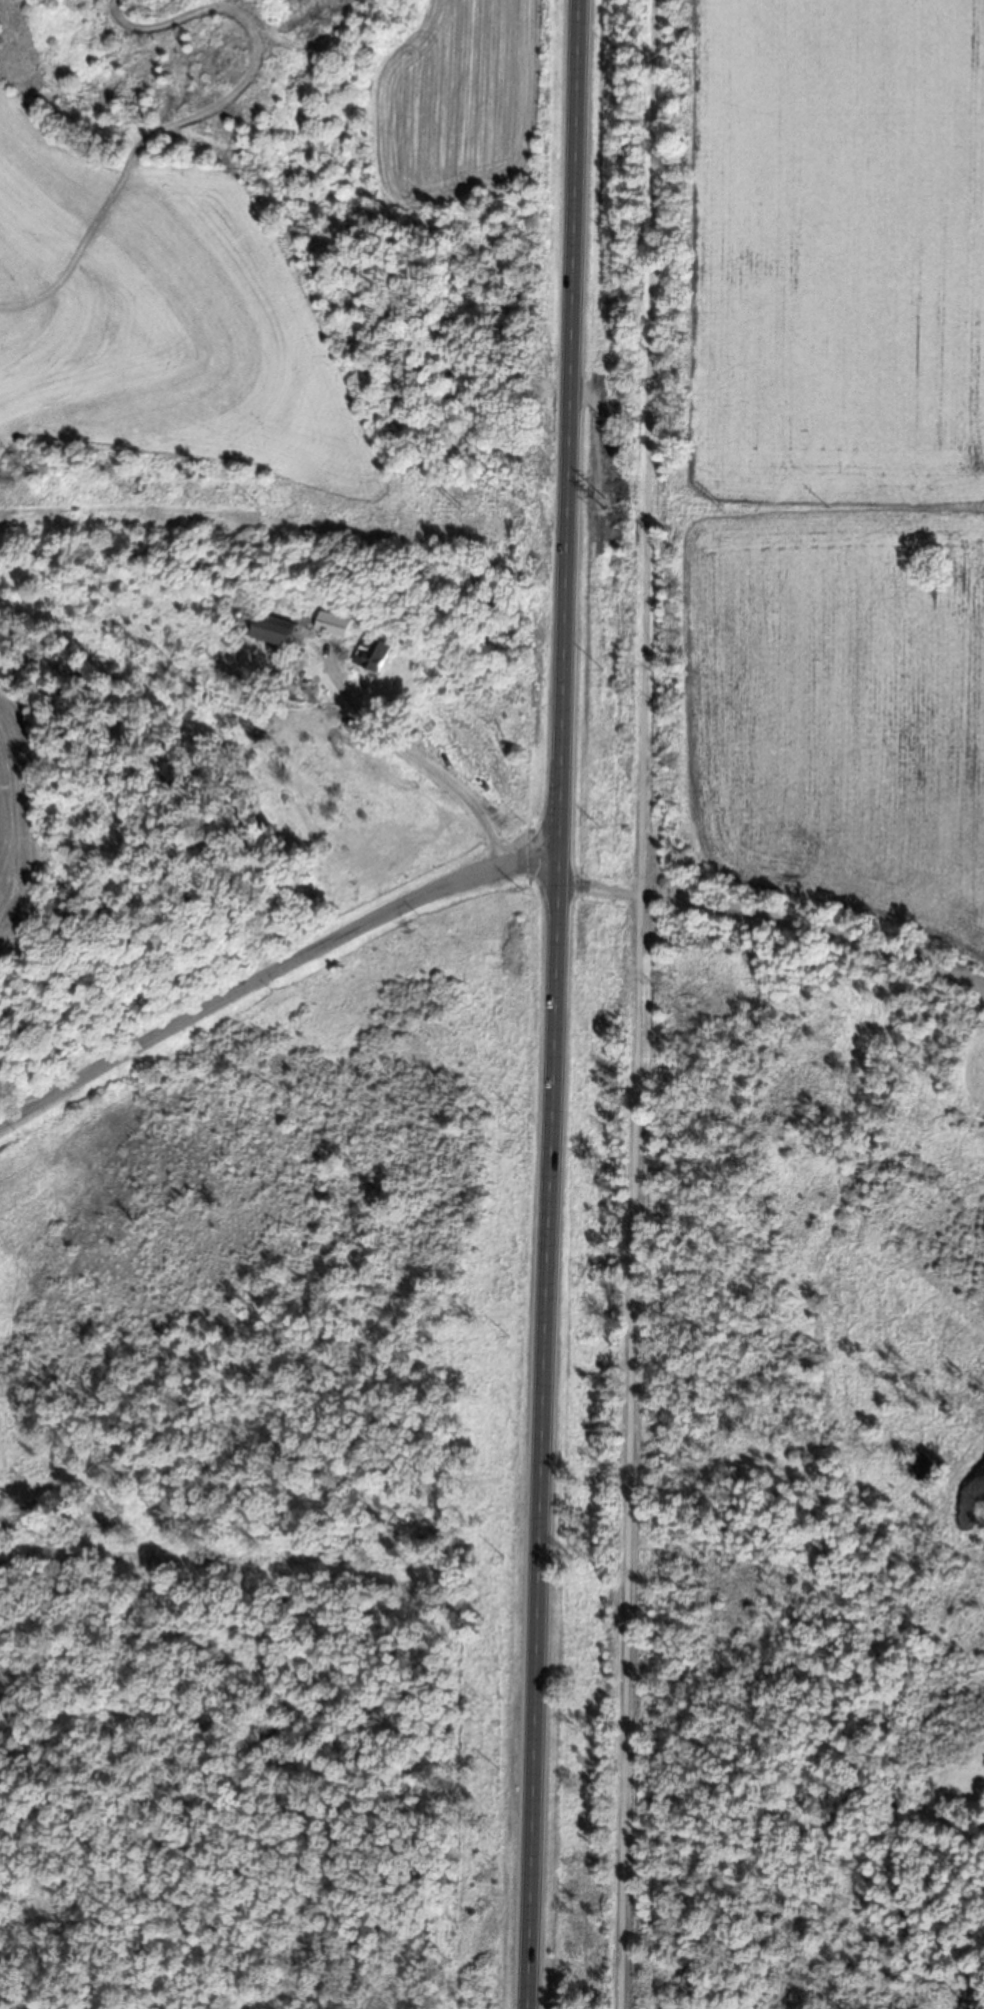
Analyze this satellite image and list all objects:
building: (332, 624)
building: (273, 629)
building: (372, 654)
road: (770, 922)
road: (272, 973)
road: (555, 1004)
road: (640, 1004)

